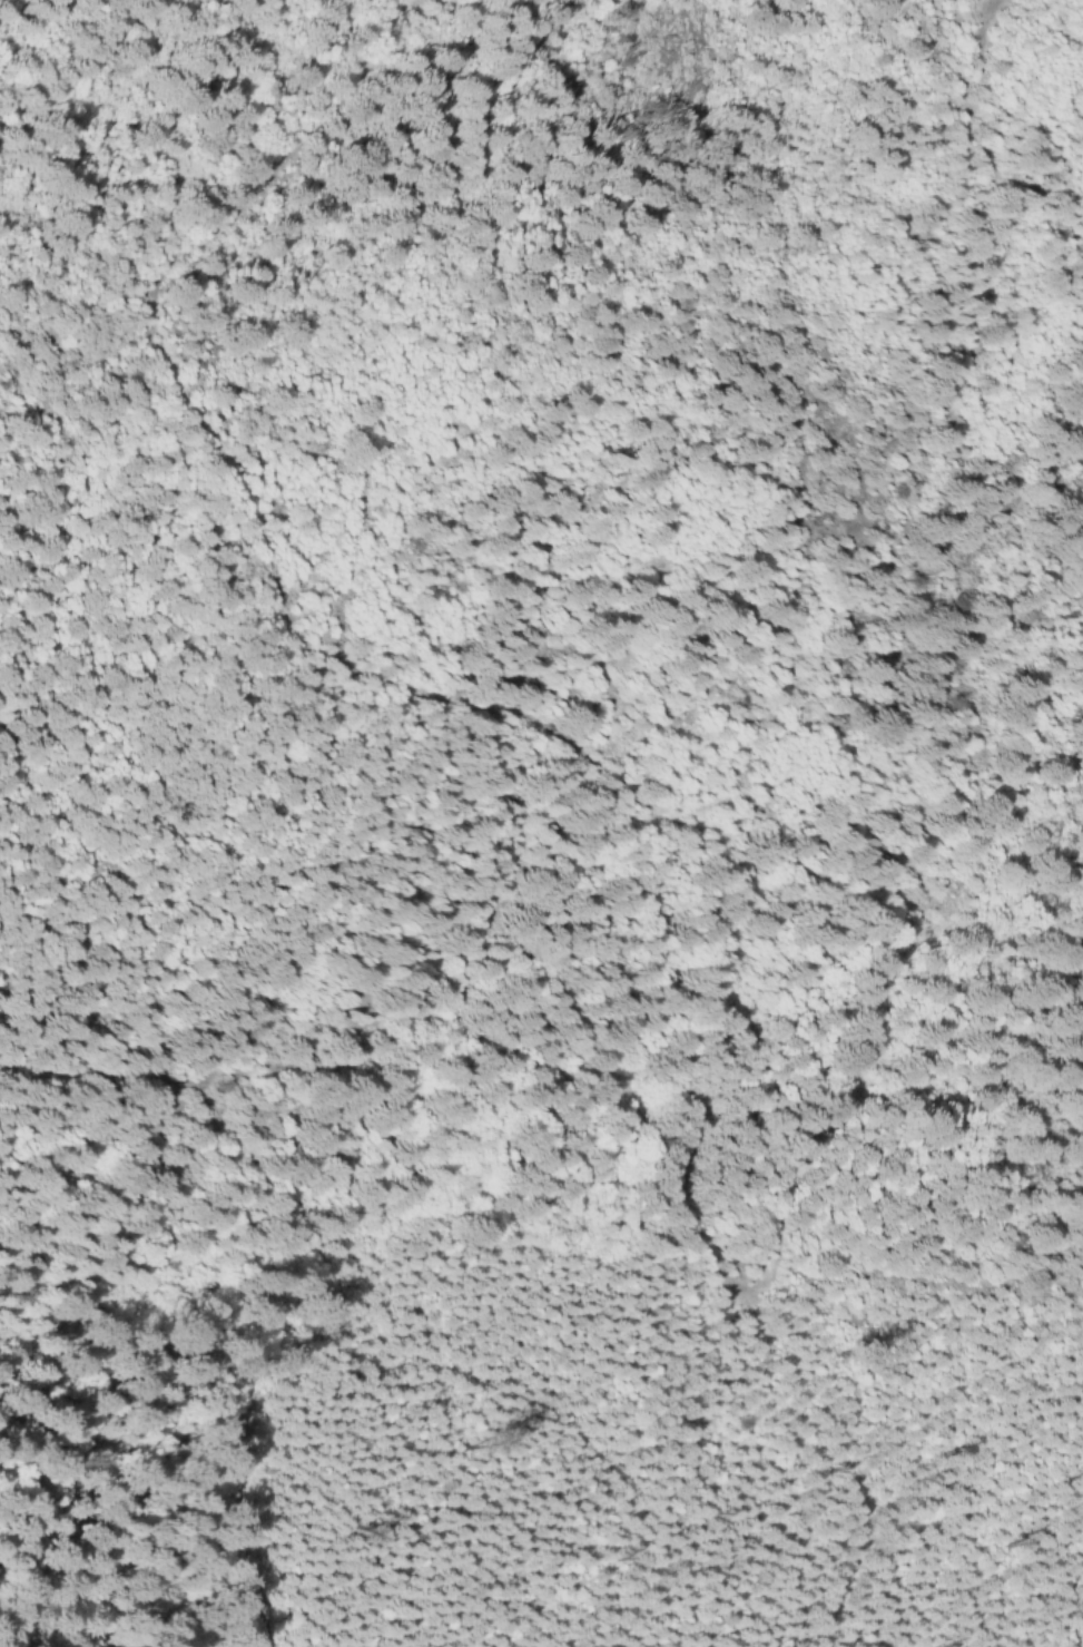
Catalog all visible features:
road: (237, 1531)

